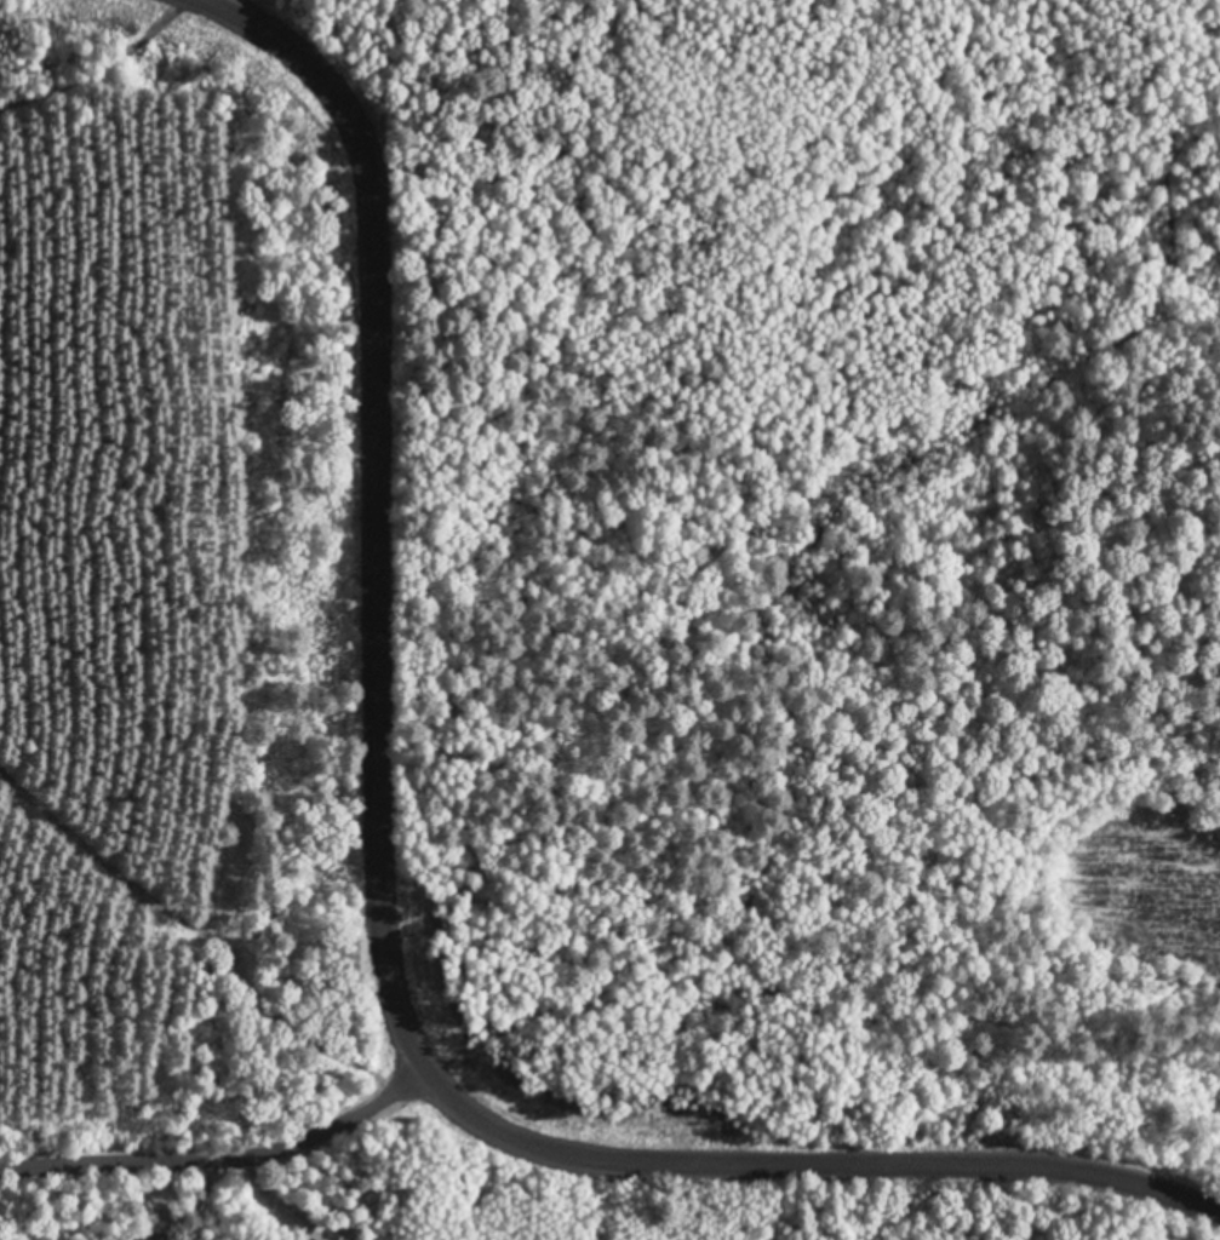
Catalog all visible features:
road: (380, 924)
road: (212, 1143)

